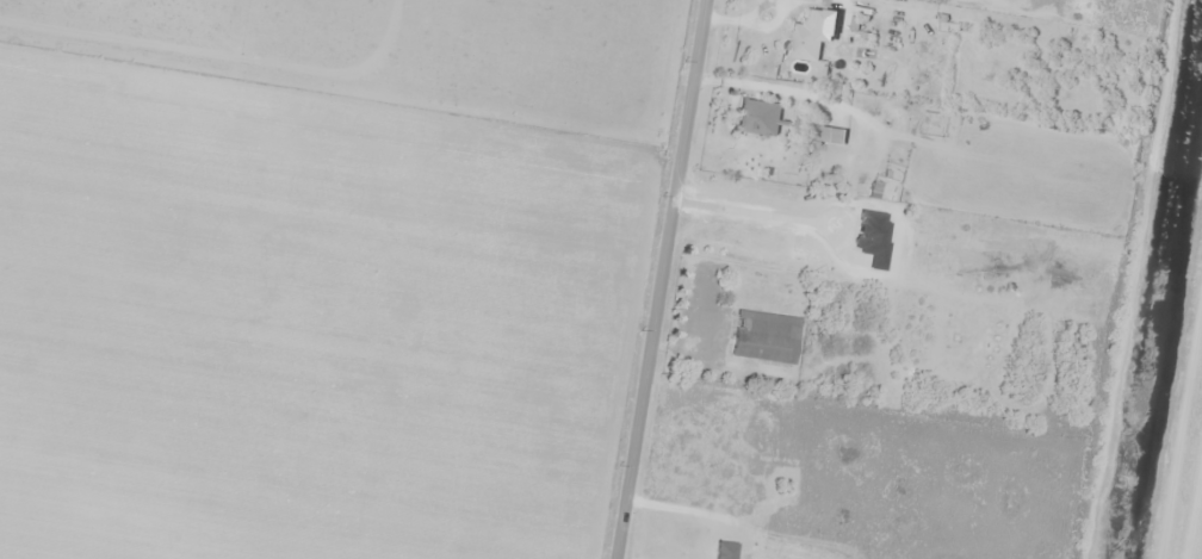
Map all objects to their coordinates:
building: (810, 36)
road: (695, 38)
building: (756, 117)
building: (768, 248)
road: (650, 317)
building: (762, 337)
railway: (1184, 448)

